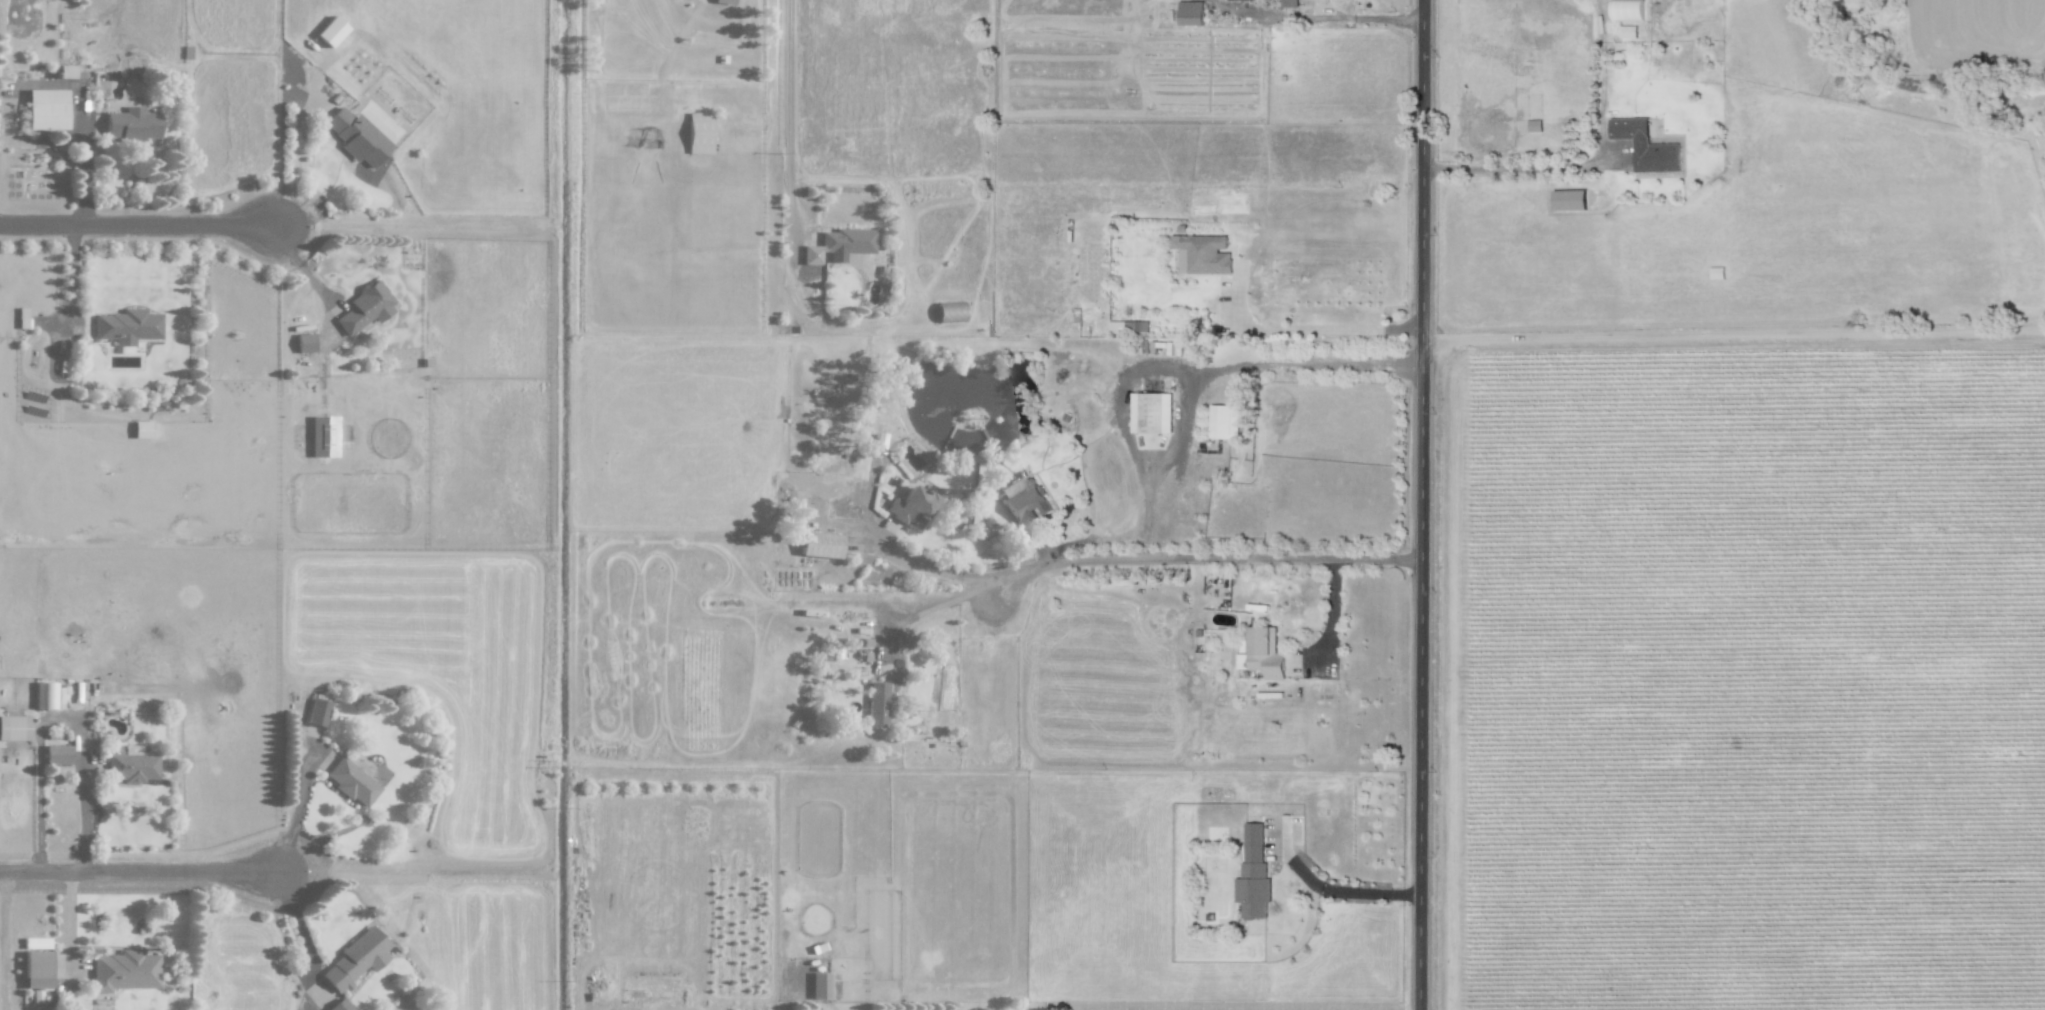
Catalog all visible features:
building: (724, 1)
building: (1289, 3)
building: (1627, 10)
building: (1190, 13)
road: (1316, 17)
building: (331, 31)
building: (1627, 31)
building: (67, 71)
building: (46, 109)
road: (789, 114)
building: (133, 124)
building: (699, 132)
building: (358, 137)
building: (1646, 145)
road: (297, 151)
road: (85, 157)
road: (1530, 168)
road: (141, 225)
building: (839, 245)
building: (1203, 253)
building: (1716, 272)
road: (77, 280)
road: (315, 281)
building: (365, 308)
building: (950, 311)
building: (22, 318)
building: (128, 326)
road: (1302, 328)
building: (304, 342)
road: (1256, 367)
building: (1151, 412)
building: (1224, 421)
building: (142, 429)
building: (323, 436)
road: (1153, 469)
building: (1026, 503)
road: (1424, 504)
building: (911, 505)
building: (820, 544)
road: (1226, 560)
road: (996, 577)
road: (939, 607)
road: (1335, 607)
building: (1263, 653)
building: (45, 695)
building: (877, 704)
building: (317, 712)
building: (15, 727)
building: (57, 754)
building: (132, 765)
road: (42, 770)
building: (352, 782)
road: (85, 800)
road: (295, 807)
road: (138, 870)
building: (1253, 874)
road: (1330, 890)
road: (72, 925)
road: (7, 939)
road: (307, 939)
building: (355, 960)
road: (82, 968)
building: (37, 969)
building: (124, 970)
road: (787, 984)
building: (820, 985)
building: (340, 1005)

